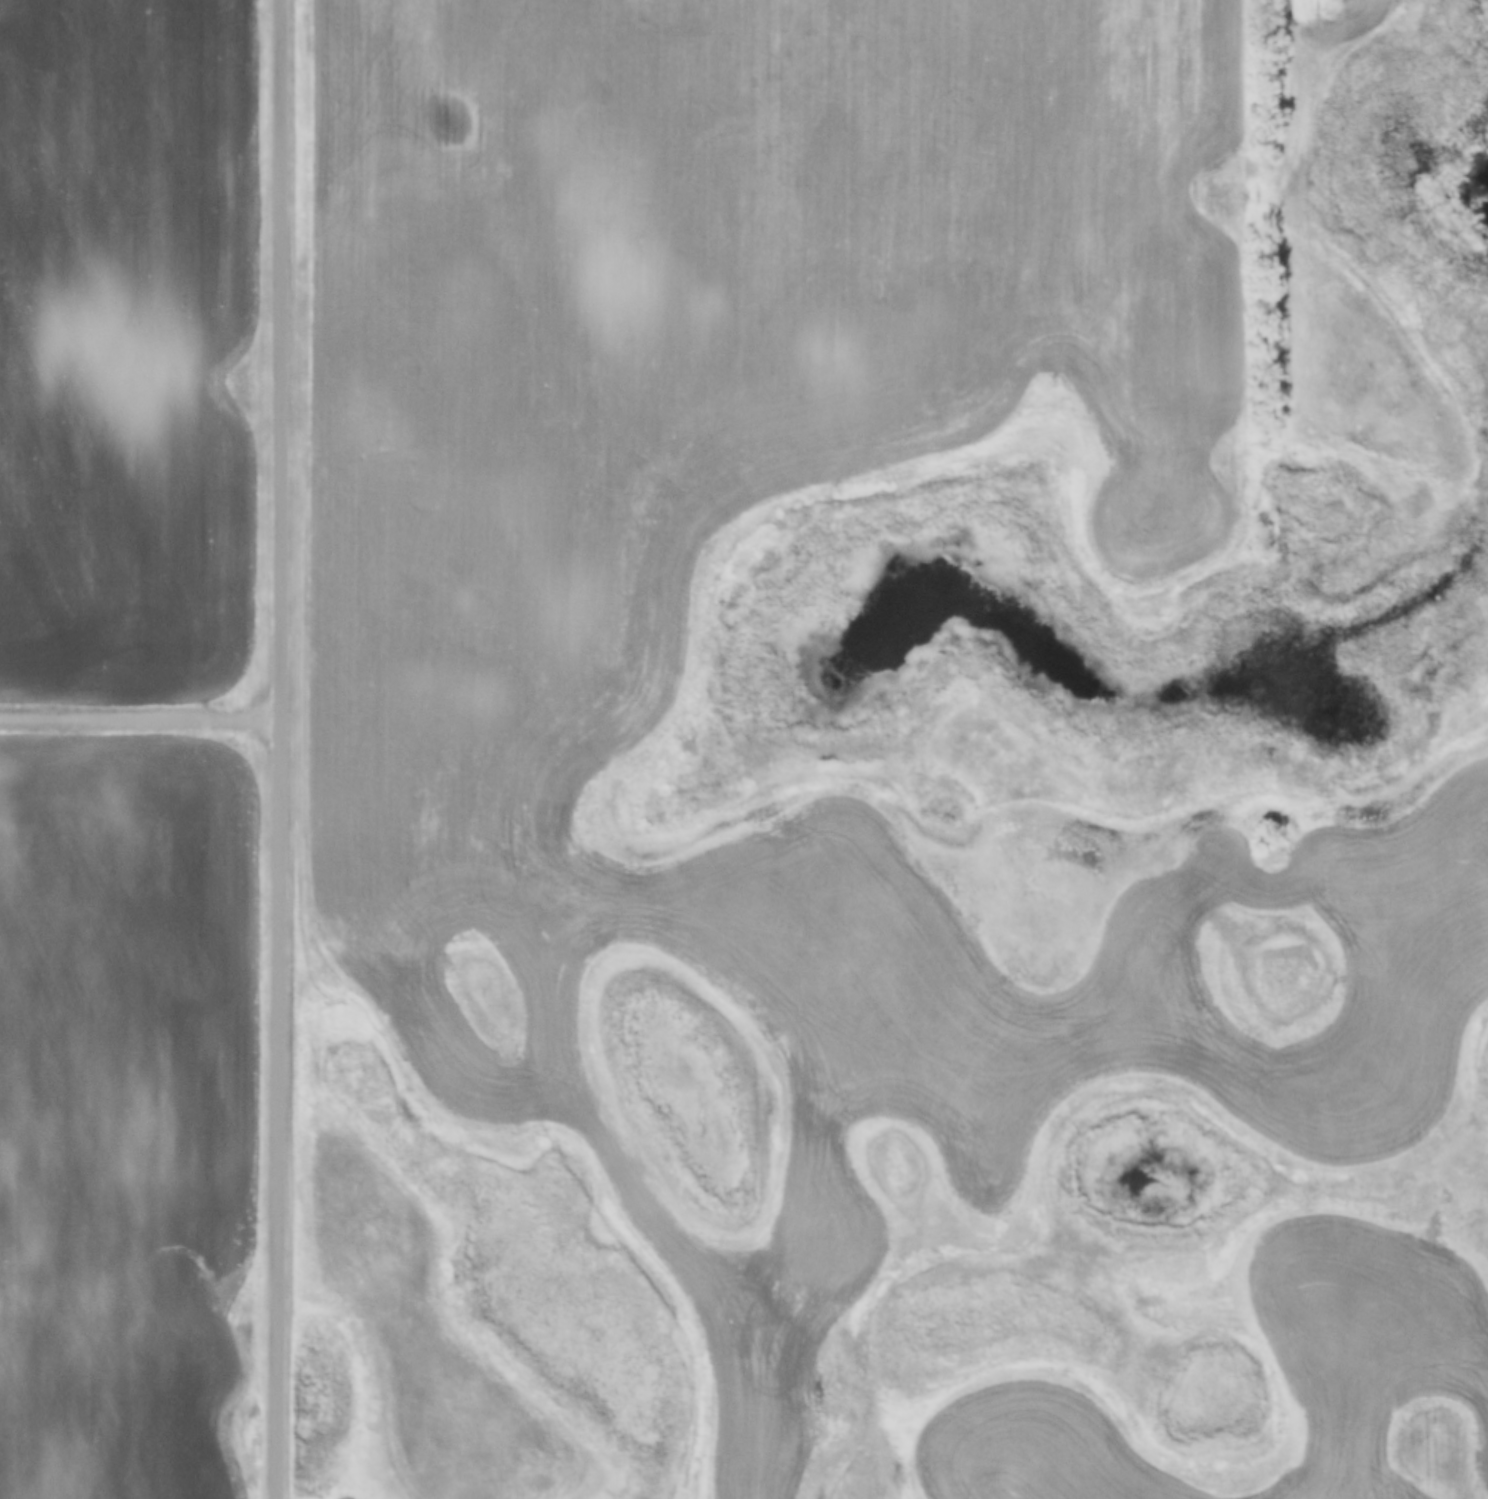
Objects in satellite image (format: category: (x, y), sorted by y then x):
road: (141, 720)
road: (282, 749)

